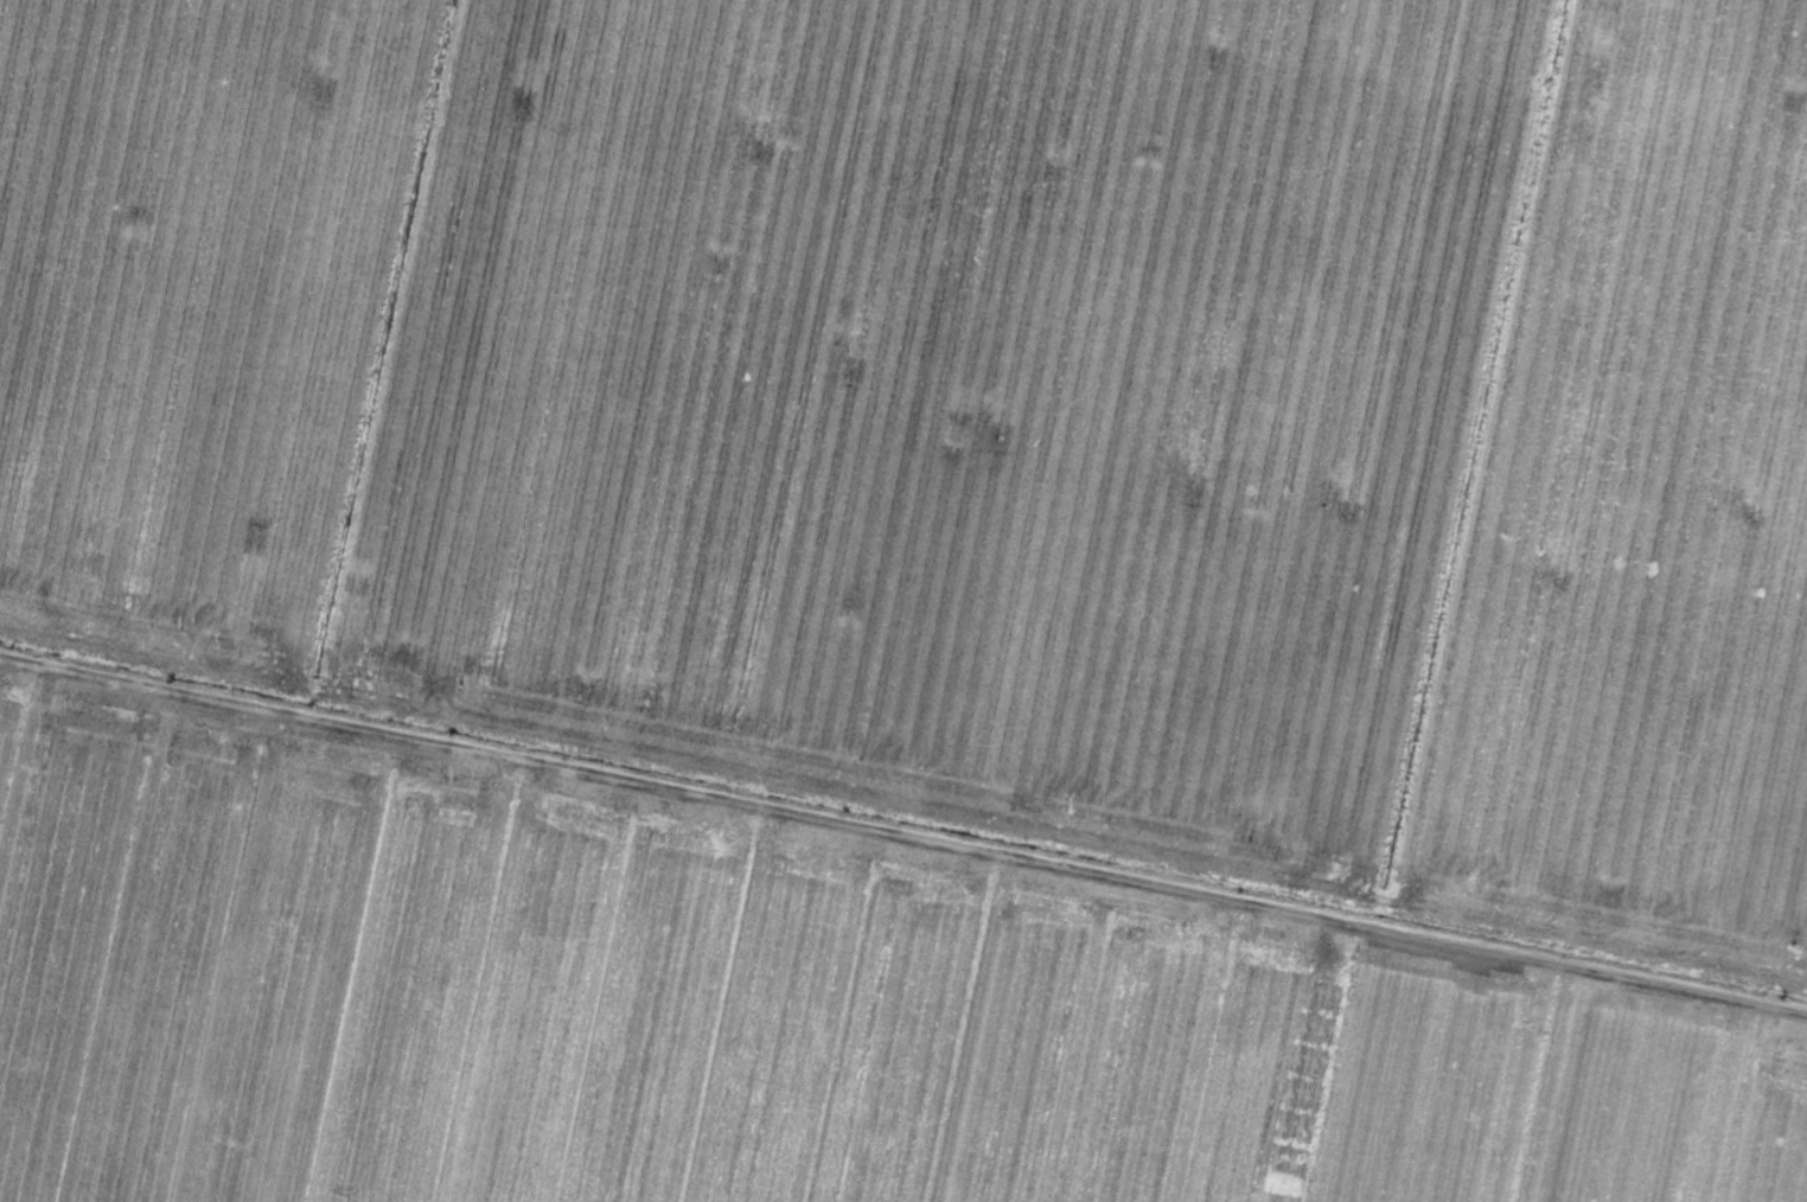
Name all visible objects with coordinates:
road: (903, 837)
building: (1270, 1025)

